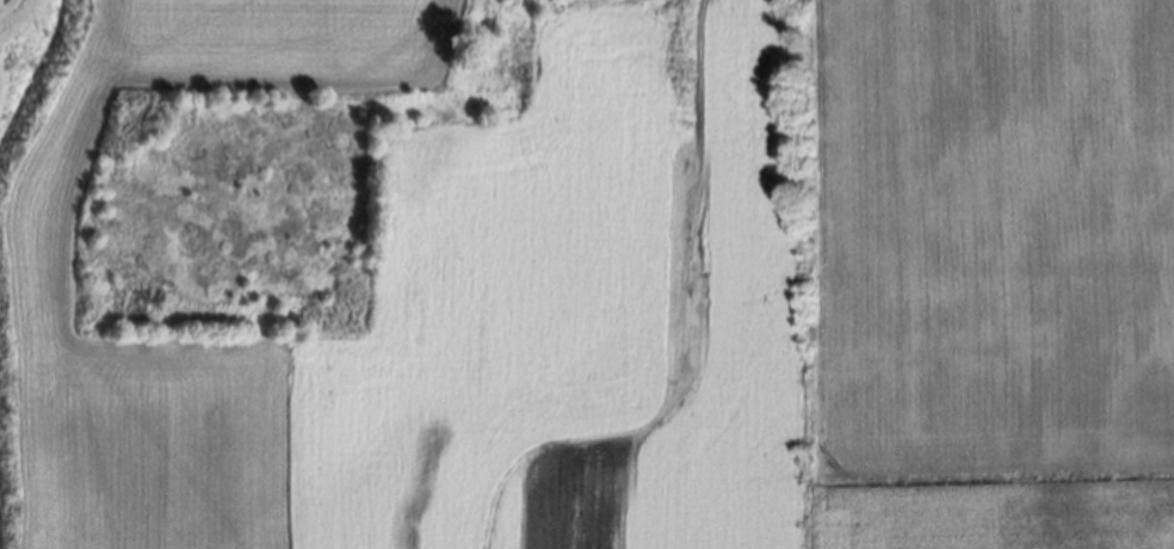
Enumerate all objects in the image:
crop: (10, 26)

